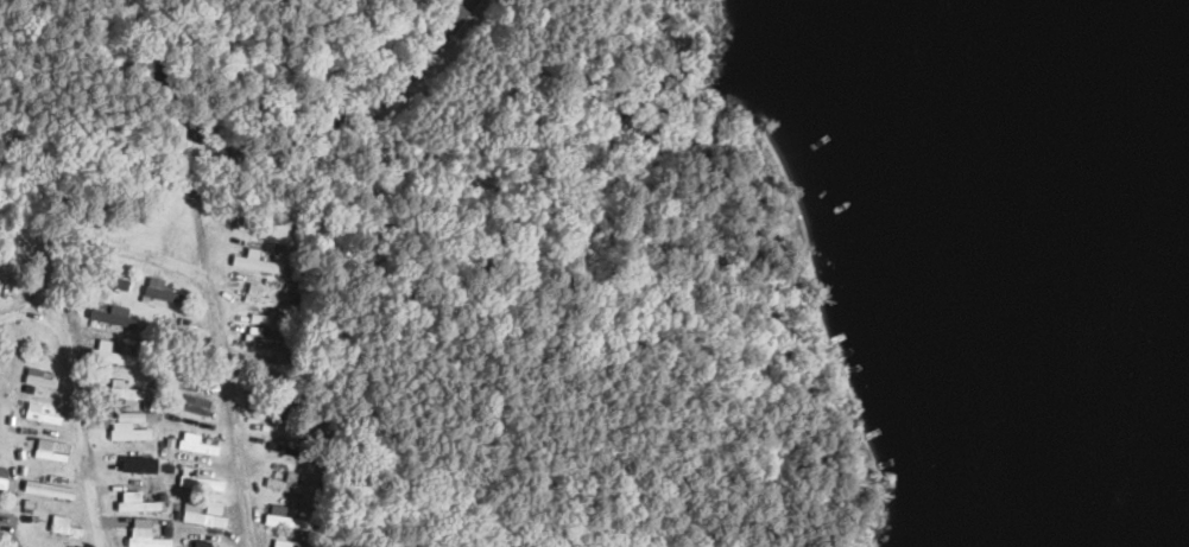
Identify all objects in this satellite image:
road: (279, 142)
building: (249, 228)
park: (526, 249)
building: (258, 263)
building: (107, 280)
building: (165, 293)
building: (259, 297)
road: (20, 313)
building: (115, 317)
road: (55, 323)
building: (265, 339)
building: (114, 355)
road: (219, 364)
building: (179, 368)
building: (273, 377)
building: (39, 379)
building: (124, 390)
building: (196, 405)
building: (278, 411)
building: (45, 415)
building: (131, 427)
building: (200, 446)
building: (52, 451)
building: (141, 465)
building: (4, 477)
building: (197, 479)
building: (278, 484)
building: (61, 491)
building: (137, 502)
building: (208, 515)
building: (286, 519)
building: (147, 539)
building: (207, 543)

